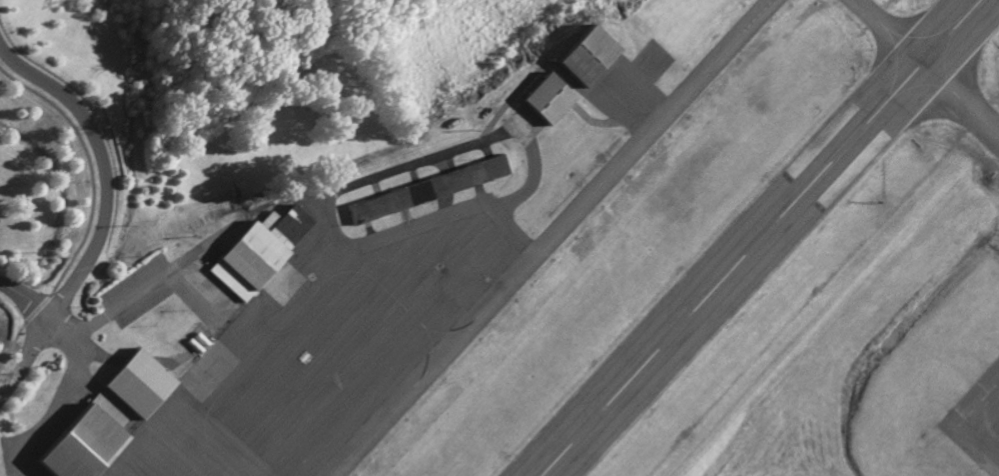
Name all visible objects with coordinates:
building: (579, 56)
airport taxiway: (929, 67)
building: (540, 101)
road: (105, 165)
building: (490, 168)
airport taxiway: (547, 237)
airport runway: (757, 237)
building: (254, 251)
airport: (573, 264)
road: (25, 299)
road: (59, 320)
airport apron: (321, 345)
building: (133, 384)
airport apron: (977, 421)
building: (80, 441)

